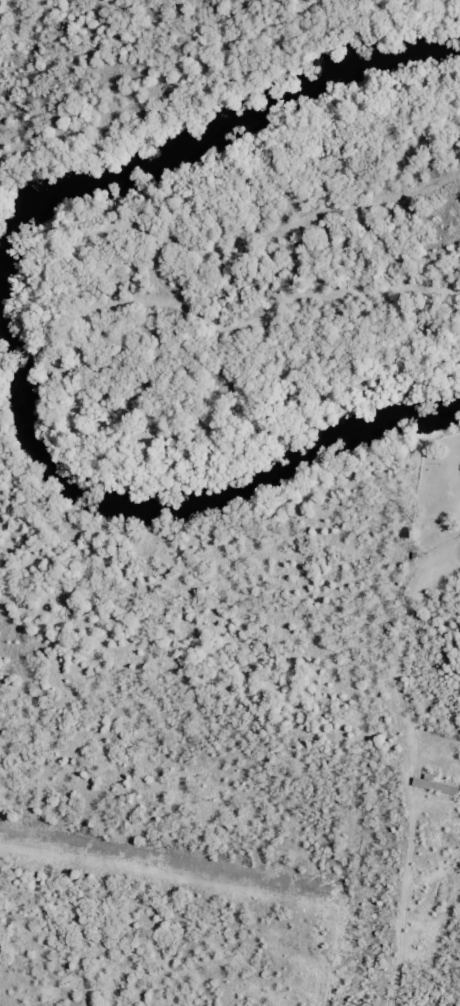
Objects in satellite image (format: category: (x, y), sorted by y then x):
river: (8, 331)

